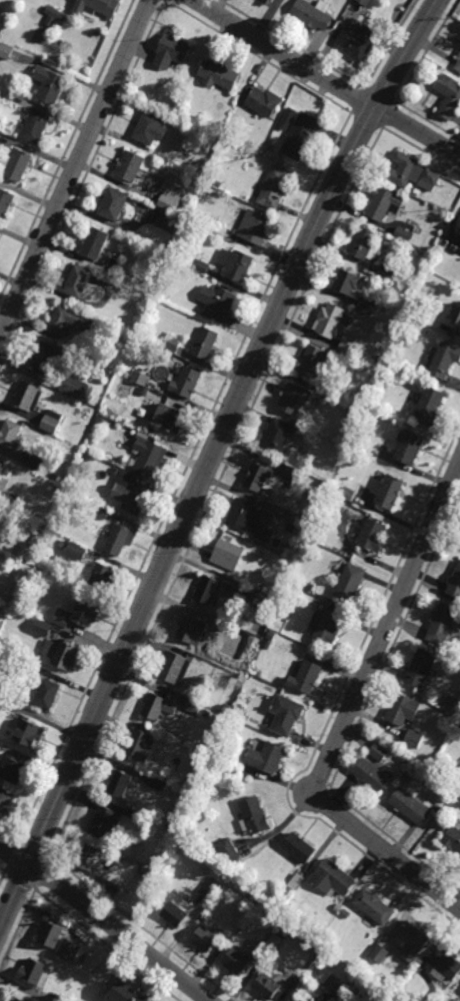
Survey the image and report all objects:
building: (268, 0)
road: (162, 1)
road: (164, 1)
building: (280, 1)
building: (364, 2)
road: (436, 3)
road: (165, 5)
building: (95, 6)
building: (54, 11)
building: (310, 15)
building: (354, 41)
road: (290, 44)
road: (389, 44)
building: (5, 50)
building: (170, 51)
road: (427, 51)
road: (258, 57)
building: (456, 64)
building: (215, 75)
road: (328, 78)
building: (48, 85)
building: (8, 94)
road: (379, 95)
building: (448, 99)
road: (355, 100)
building: (261, 102)
building: (170, 108)
road: (388, 115)
building: (287, 118)
road: (365, 119)
road: (428, 122)
building: (32, 127)
building: (147, 130)
building: (296, 136)
building: (269, 147)
road: (67, 149)
road: (420, 151)
building: (12, 162)
road: (75, 167)
building: (127, 167)
building: (201, 169)
building: (409, 174)
building: (216, 183)
road: (81, 185)
building: (273, 188)
building: (135, 190)
building: (169, 201)
building: (4, 204)
building: (110, 205)
building: (381, 205)
building: (167, 221)
building: (207, 223)
building: (252, 227)
building: (459, 231)
building: (402, 232)
building: (459, 233)
building: (91, 245)
building: (361, 245)
building: (197, 263)
building: (234, 265)
building: (385, 272)
building: (74, 282)
building: (344, 284)
building: (214, 304)
building: (366, 304)
building: (66, 321)
building: (457, 321)
building: (325, 323)
building: (172, 342)
building: (348, 343)
building: (203, 344)
building: (85, 347)
building: (99, 352)
building: (381, 358)
building: (39, 360)
building: (443, 360)
building: (313, 361)
building: (376, 369)
building: (139, 376)
building: (183, 382)
building: (73, 386)
building: (150, 393)
building: (26, 398)
building: (292, 398)
building: (427, 407)
building: (99, 418)
building: (161, 419)
building: (51, 420)
building: (7, 435)
building: (274, 437)
building: (405, 450)
building: (145, 457)
building: (33, 461)
road: (209, 462)
building: (0, 466)
building: (287, 470)
road: (182, 475)
building: (253, 480)
road: (213, 491)
building: (346, 492)
building: (387, 495)
building: (126, 499)
building: (12, 500)
building: (100, 512)
building: (287, 515)
building: (241, 517)
building: (1, 535)
building: (370, 537)
building: (116, 541)
building: (76, 551)
building: (224, 557)
building: (100, 578)
building: (454, 584)
building: (348, 585)
building: (309, 586)
building: (246, 591)
building: (205, 592)
building: (284, 608)
building: (82, 614)
building: (61, 617)
road: (391, 617)
building: (41, 627)
building: (443, 627)
building: (320, 629)
building: (188, 631)
building: (270, 635)
building: (59, 656)
building: (24, 663)
building: (170, 668)
building: (418, 669)
building: (303, 680)
building: (45, 695)
building: (2, 700)
building: (192, 706)
building: (225, 708)
building: (155, 709)
building: (400, 711)
building: (283, 715)
road: (331, 715)
road: (361, 716)
building: (233, 729)
building: (24, 733)
building: (413, 738)
building: (137, 745)
building: (403, 758)
building: (264, 759)
building: (371, 768)
building: (10, 769)
road: (312, 778)
building: (157, 784)
road: (327, 785)
building: (116, 786)
road: (329, 793)
building: (3, 803)
road: (319, 806)
building: (408, 808)
building: (438, 808)
building: (250, 818)
building: (103, 822)
road: (9, 835)
building: (451, 839)
road: (378, 843)
road: (33, 848)
building: (296, 849)
building: (227, 851)
road: (12, 855)
building: (82, 860)
building: (135, 868)
building: (142, 870)
road: (2, 871)
road: (41, 872)
road: (3, 877)
building: (331, 878)
road: (19, 880)
building: (295, 881)
road: (458, 885)
road: (458, 889)
building: (210, 890)
road: (447, 899)
building: (337, 908)
building: (371, 908)
building: (168, 914)
building: (345, 914)
road: (106, 921)
road: (17, 927)
road: (142, 928)
building: (48, 935)
building: (240, 935)
building: (202, 940)
building: (413, 941)
road: (106, 945)
building: (67, 950)
building: (378, 954)
building: (262, 957)
building: (233, 963)
building: (443, 964)
building: (353, 967)
building: (31, 975)
building: (416, 975)
building: (297, 978)
building: (331, 985)
building: (263, 986)
building: (120, 993)
building: (58, 998)
building: (12, 999)
building: (291, 999)
building: (428, 1000)

